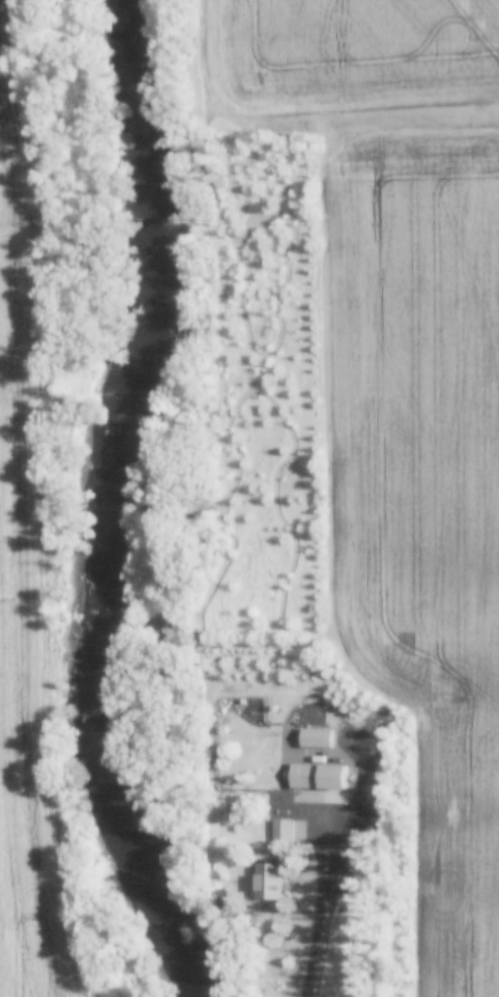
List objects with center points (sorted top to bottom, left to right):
building: (255, 209)
river: (131, 503)
building: (314, 738)
building: (305, 783)
building: (280, 830)
building: (264, 881)
road: (322, 898)

